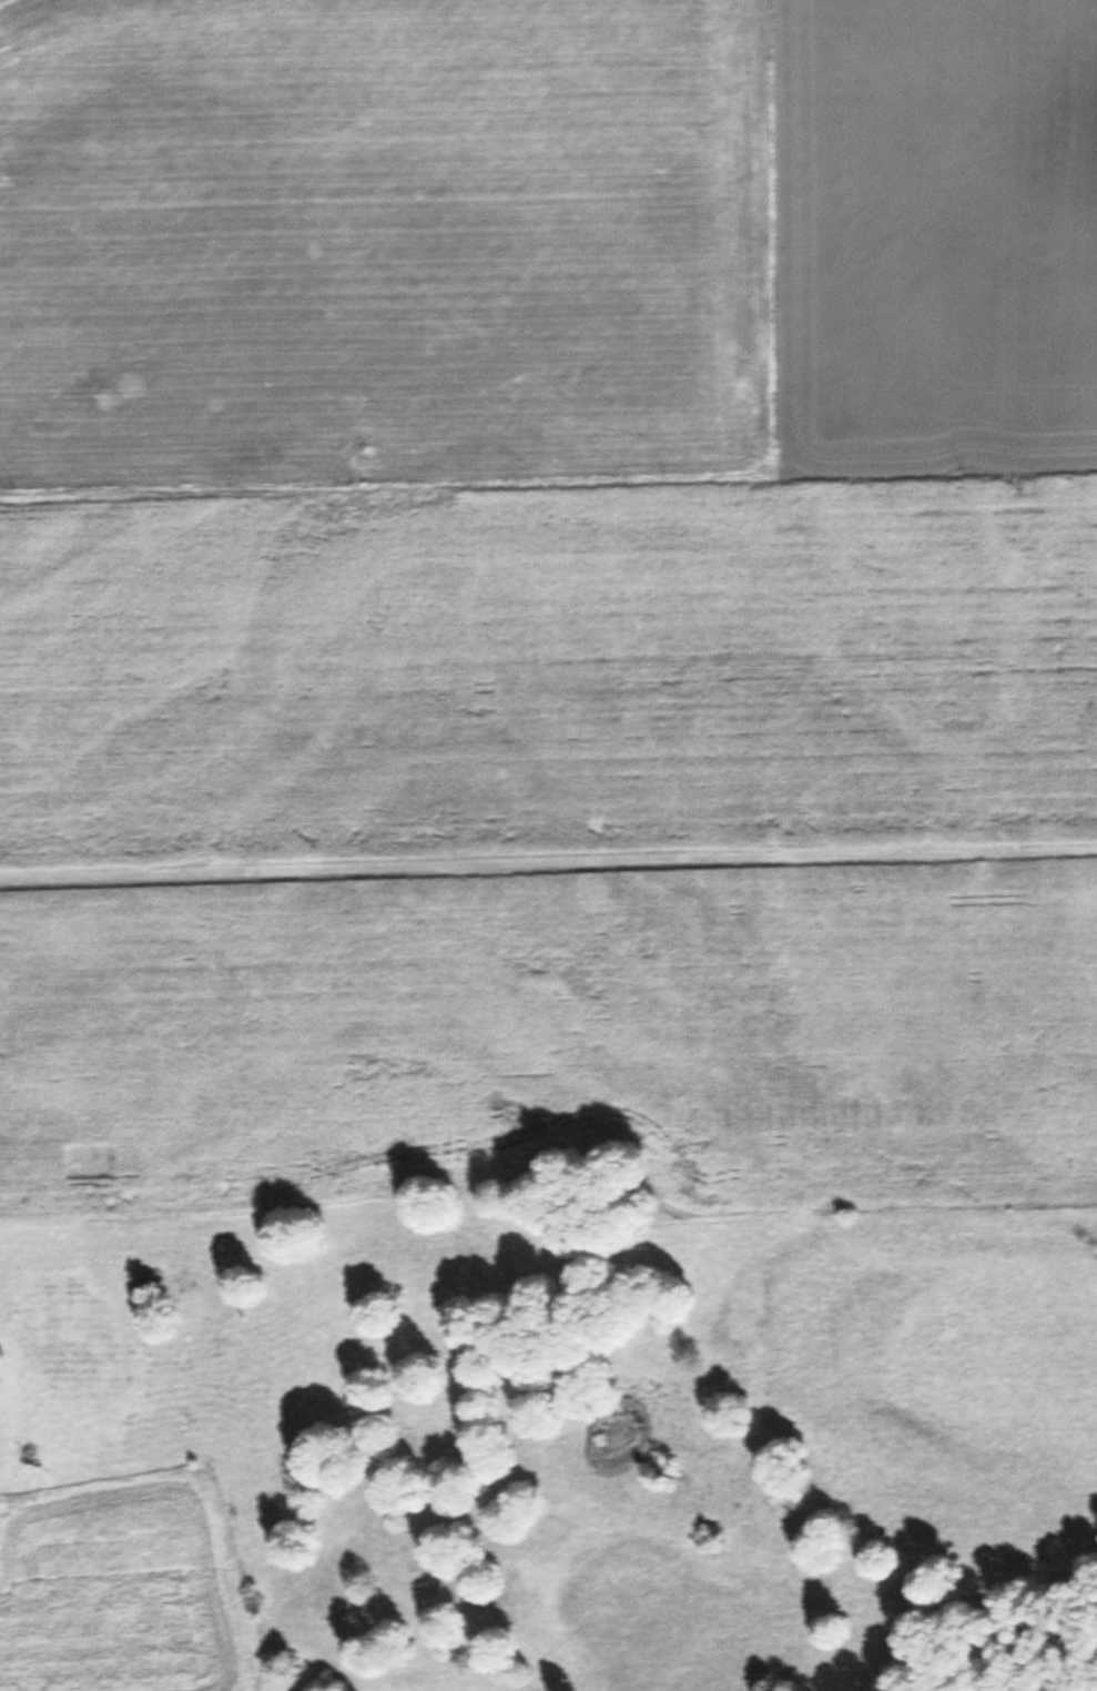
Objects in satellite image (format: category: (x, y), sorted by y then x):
road: (548, 862)

